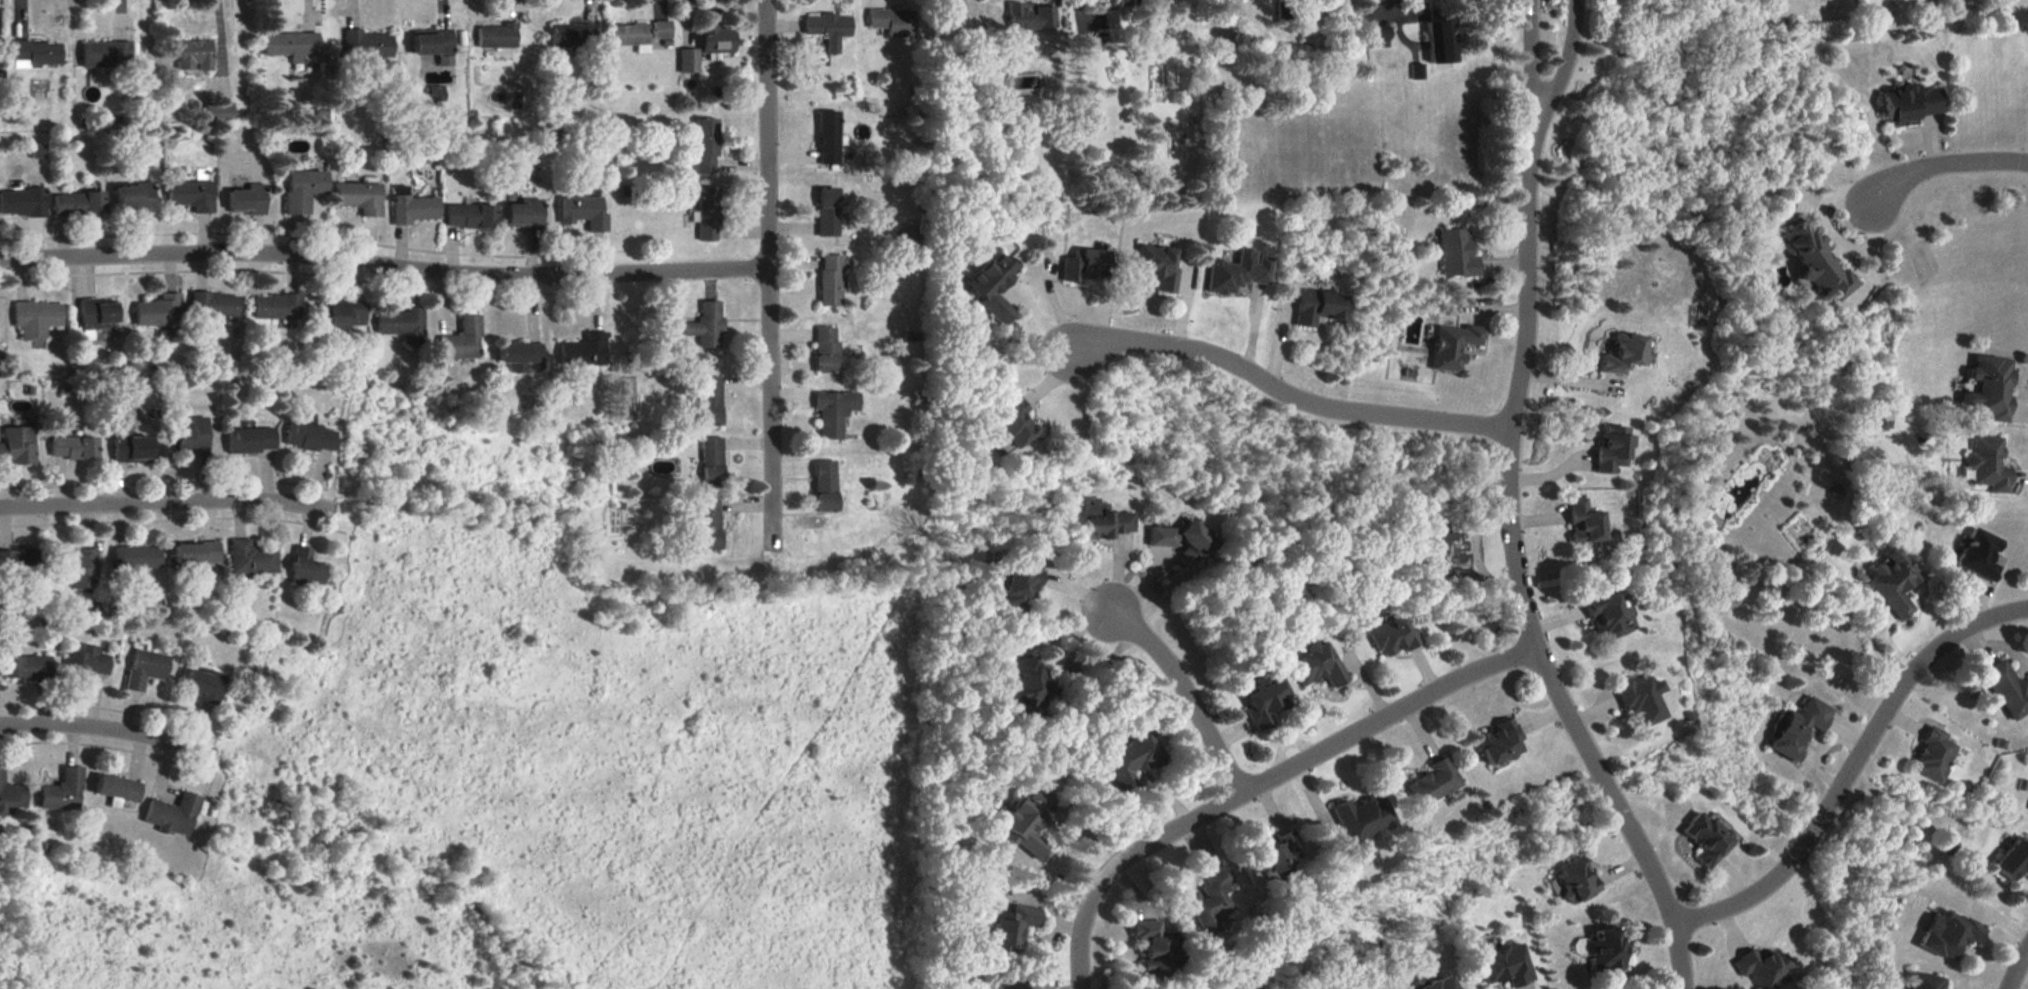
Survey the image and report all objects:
building: (1115, 10)
building: (1029, 16)
building: (891, 21)
building: (827, 30)
building: (661, 31)
building: (629, 33)
building: (496, 35)
building: (570, 35)
building: (1374, 35)
building: (714, 37)
building: (1436, 40)
road: (219, 41)
building: (431, 42)
building: (364, 43)
building: (290, 45)
road: (1533, 50)
building: (34, 51)
road: (1567, 51)
building: (101, 52)
building: (192, 54)
building: (687, 60)
building: (1415, 70)
building: (436, 93)
building: (1912, 103)
building: (217, 114)
building: (829, 139)
building: (706, 147)
building: (37, 150)
road: (1945, 164)
building: (301, 190)
building: (190, 196)
building: (357, 197)
building: (133, 198)
building: (244, 201)
building: (21, 203)
building: (78, 204)
building: (413, 210)
building: (582, 212)
building: (828, 213)
building: (521, 214)
building: (708, 214)
building: (470, 216)
building: (1456, 254)
building: (1817, 261)
road: (384, 264)
building: (1084, 265)
building: (1157, 265)
building: (1238, 272)
road: (770, 273)
building: (830, 281)
building: (993, 285)
building: (214, 305)
building: (276, 307)
building: (1317, 307)
building: (160, 311)
building: (340, 313)
building: (97, 314)
building: (35, 319)
building: (400, 322)
building: (706, 326)
building: (461, 341)
building: (1452, 346)
building: (584, 351)
building: (827, 351)
building: (519, 353)
building: (1622, 354)
building: (1989, 389)
road: (1287, 392)
building: (709, 402)
building: (831, 413)
building: (1015, 422)
building: (307, 434)
building: (190, 436)
building: (250, 440)
building: (17, 445)
building: (73, 448)
building: (130, 449)
building: (1612, 449)
building: (711, 462)
building: (1988, 465)
building: (823, 485)
road: (166, 500)
building: (1099, 520)
building: (1584, 522)
building: (704, 525)
road: (1474, 538)
building: (1180, 539)
building: (1448, 554)
building: (196, 555)
building: (1980, 555)
building: (136, 558)
building: (250, 558)
road: (1517, 559)
building: (22, 565)
building: (304, 568)
building: (78, 569)
building: (1020, 584)
road: (1490, 584)
building: (1894, 584)
building: (1608, 617)
road: (1064, 632)
building: (1392, 637)
building: (84, 664)
building: (1317, 666)
building: (25, 669)
building: (144, 669)
road: (1089, 673)
building: (201, 685)
building: (1023, 686)
building: (2007, 690)
road: (1191, 695)
building: (1641, 700)
building: (1264, 701)
road: (109, 728)
building: (1800, 728)
building: (1499, 743)
building: (1934, 756)
building: (1132, 758)
road: (1853, 763)
road: (1264, 782)
building: (1433, 783)
building: (117, 790)
building: (63, 791)
building: (11, 796)
building: (172, 814)
building: (1363, 819)
building: (1027, 822)
building: (1705, 840)
building: (1276, 856)
building: (2011, 861)
building: (1576, 882)
building: (1212, 903)
building: (1009, 929)
building: (1949, 934)
building: (1157, 949)
building: (1606, 949)
building: (1506, 965)
building: (1761, 966)
road: (2017, 968)
building: (1927, 982)
building: (1443, 984)

